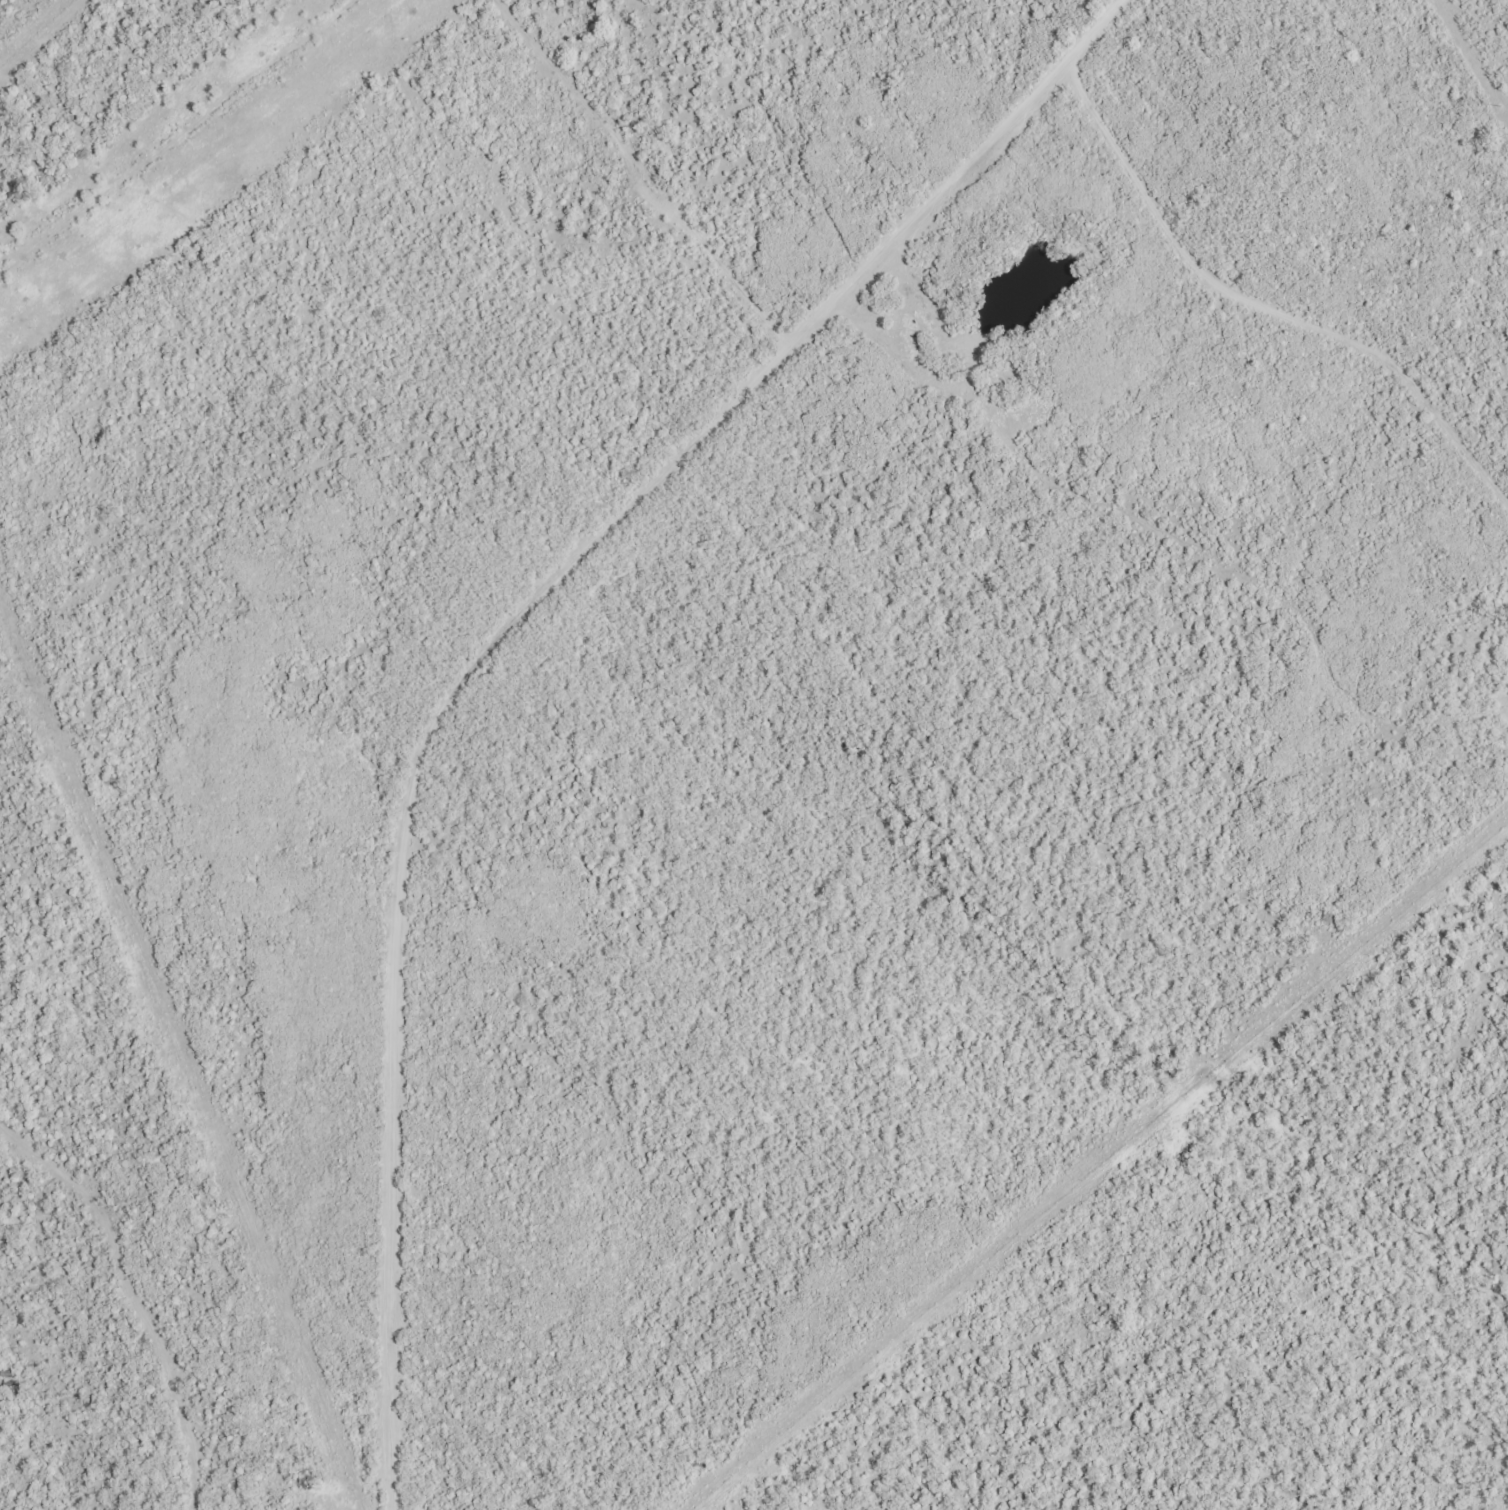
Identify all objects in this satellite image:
road: (148, 81)
road: (114, 1308)

